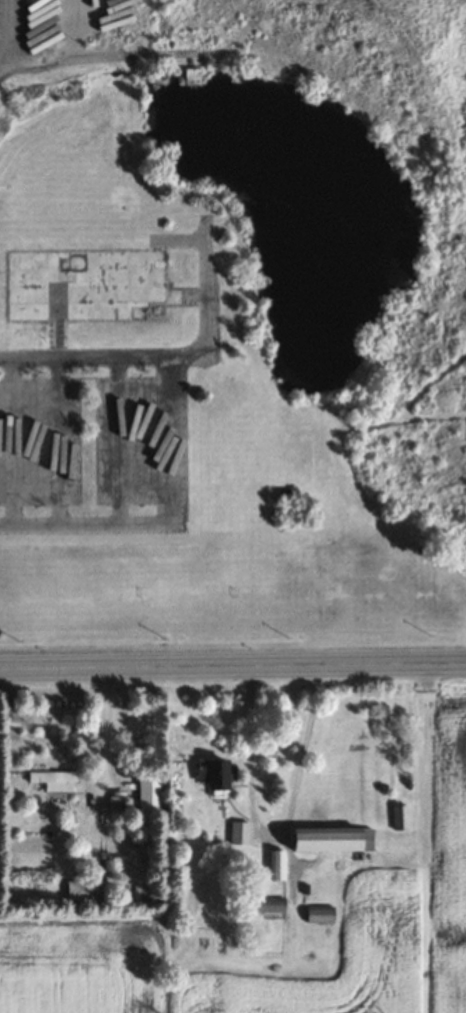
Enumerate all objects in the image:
building: (192, 76)
building: (85, 285)
road: (233, 666)
building: (212, 774)
building: (53, 780)
building: (148, 798)
building: (400, 818)
building: (332, 840)
building: (276, 865)
building: (80, 889)
building: (270, 906)

